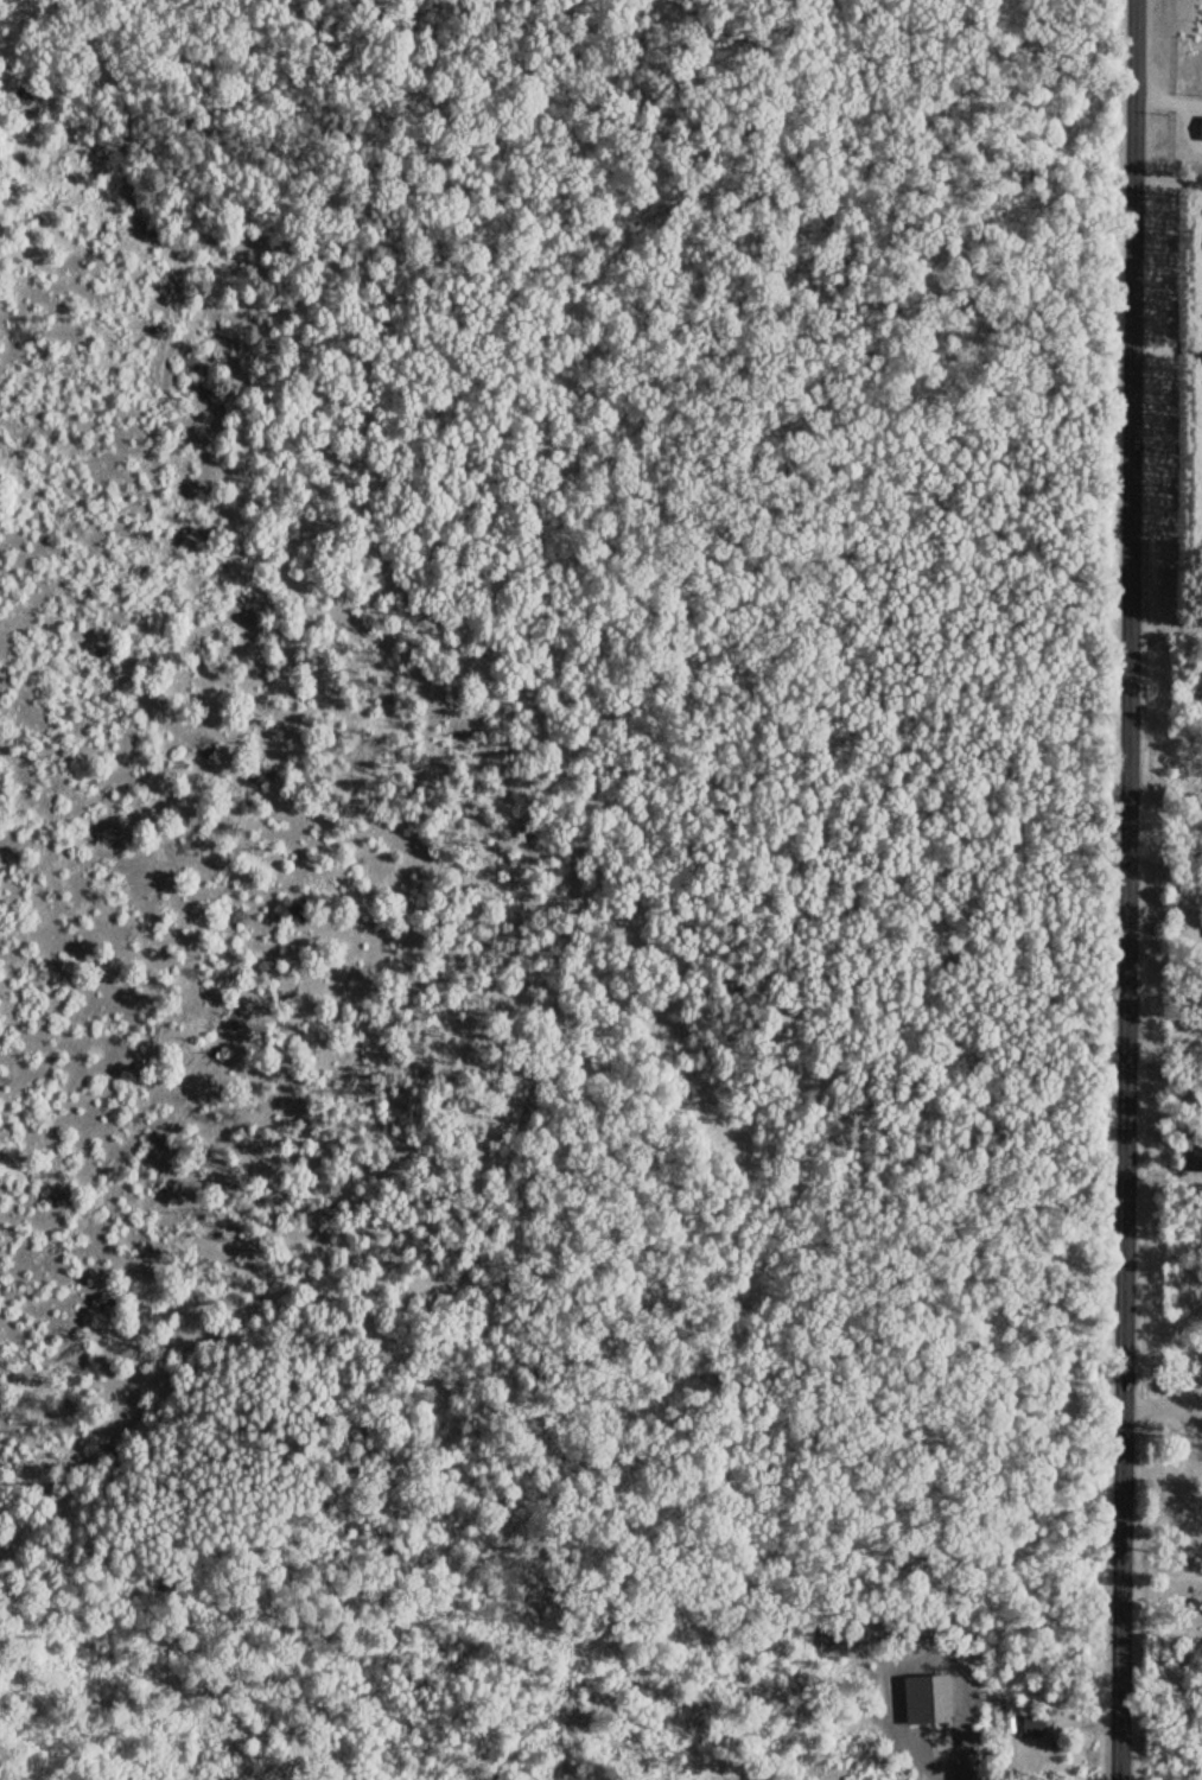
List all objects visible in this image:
building: (1200, 127)
road: (1130, 890)
building: (1191, 1018)
road: (1164, 1314)
building: (1031, 1724)

